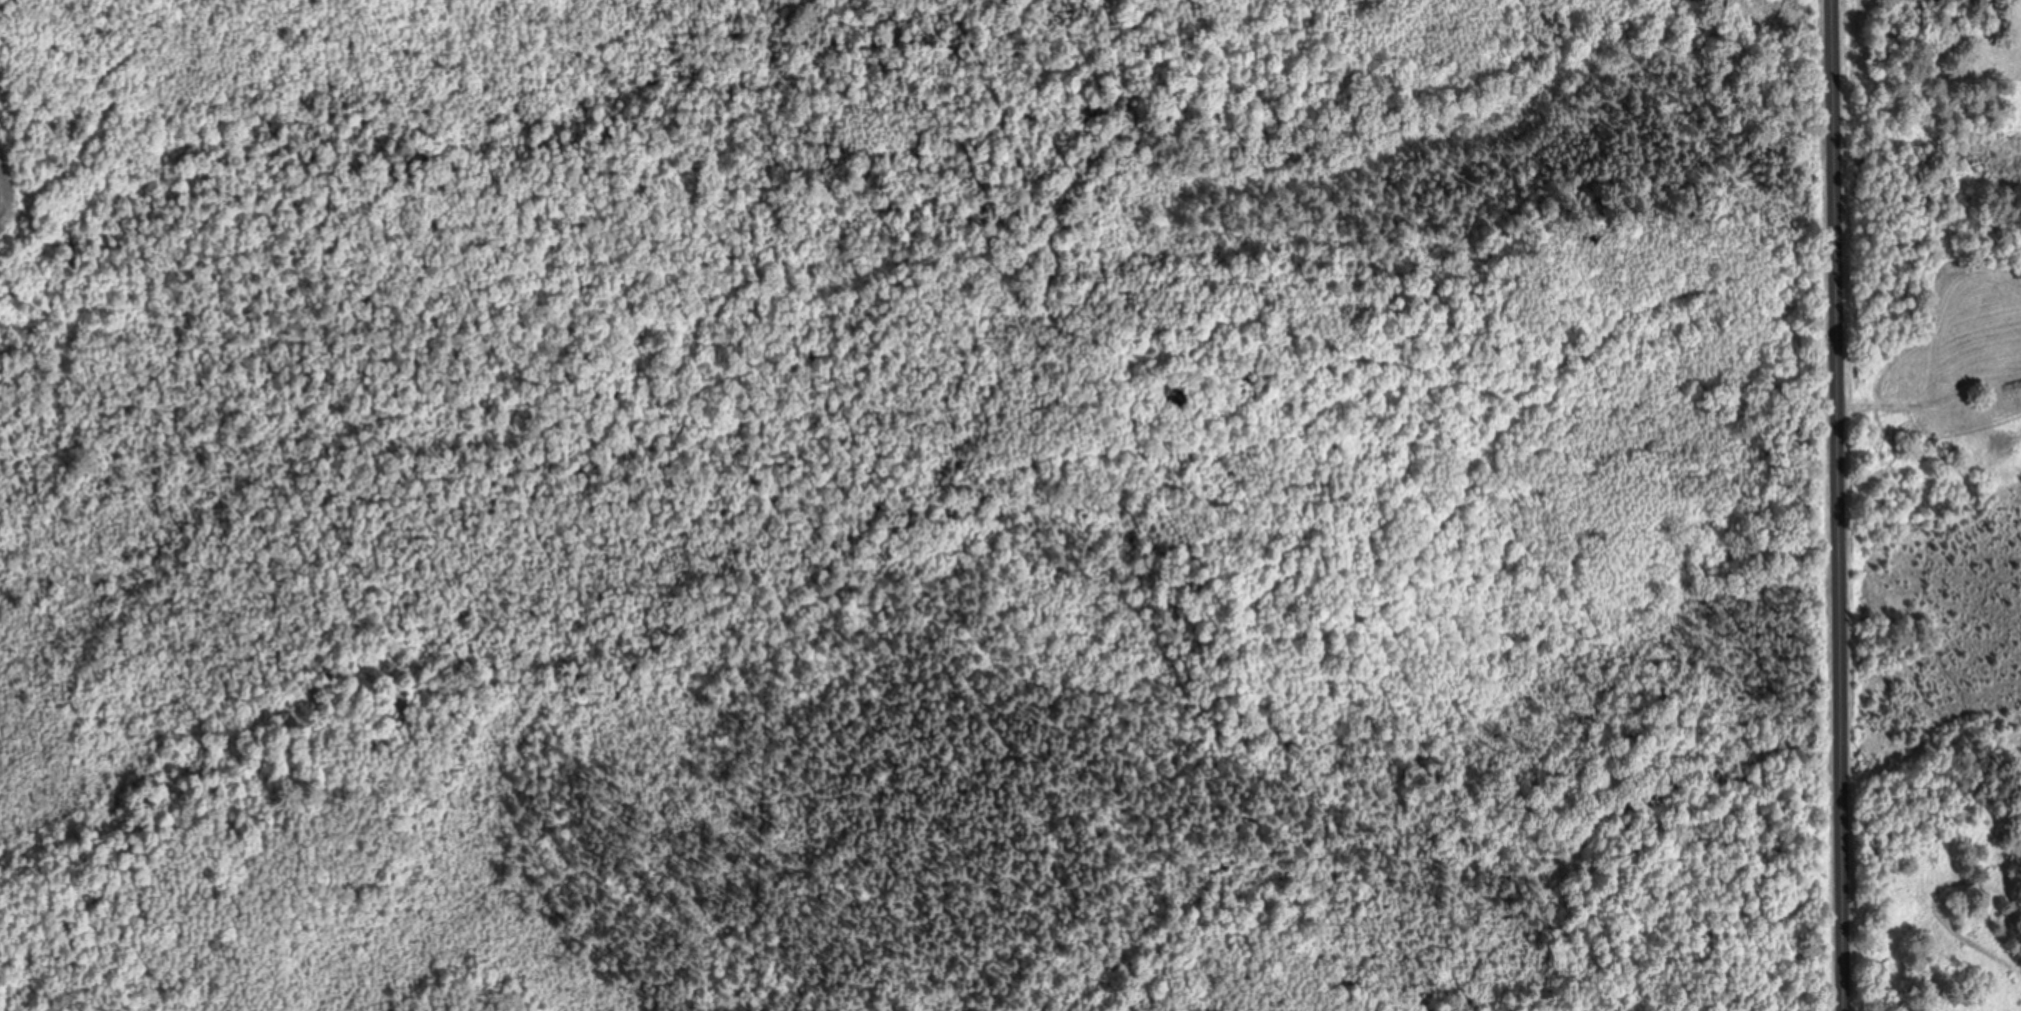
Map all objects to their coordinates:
road: (1849, 505)

